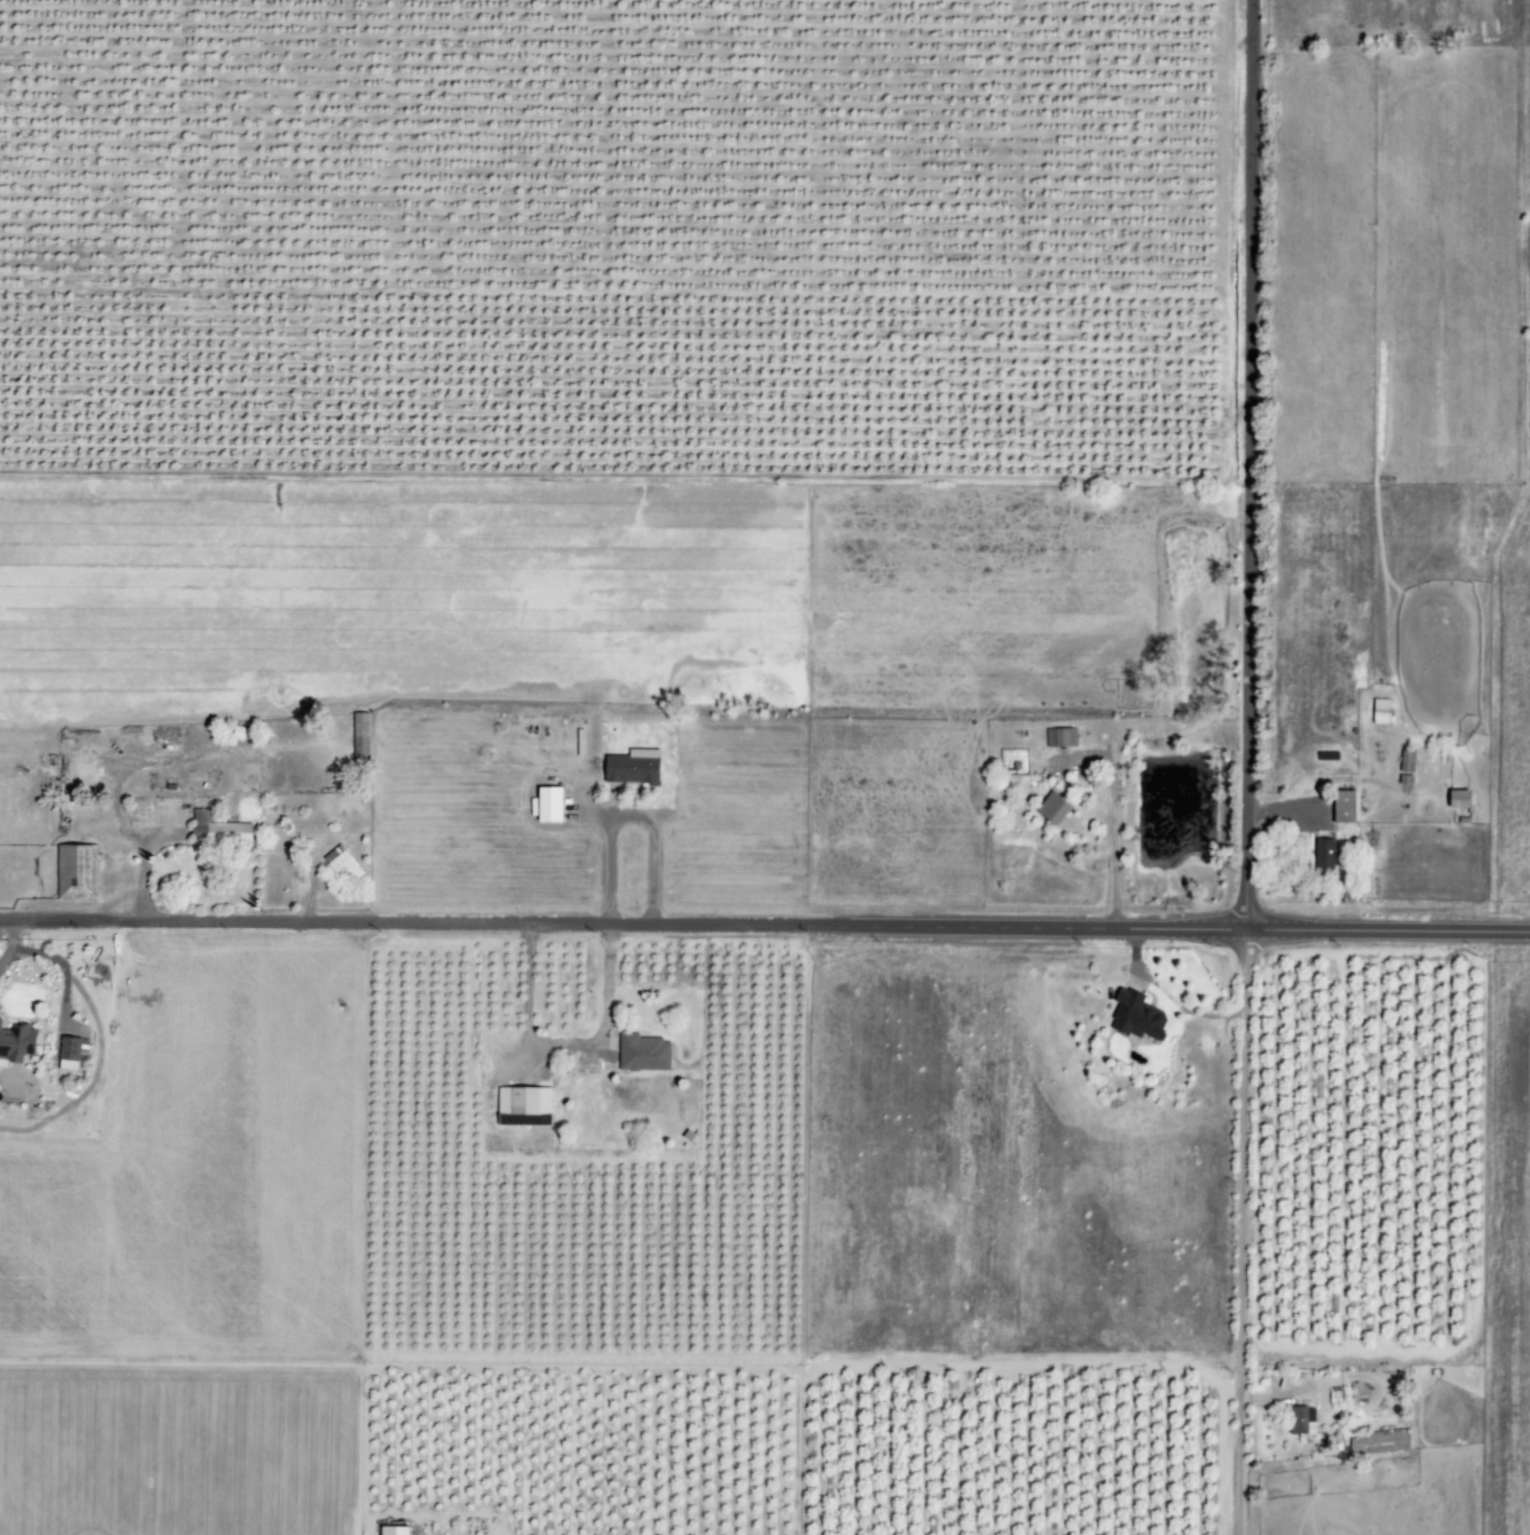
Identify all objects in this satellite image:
building: (1378, 711)
building: (356, 737)
building: (1058, 737)
building: (629, 767)
road: (1243, 767)
building: (1454, 799)
building: (543, 805)
building: (1340, 806)
building: (1048, 809)
road: (626, 814)
road: (1112, 822)
building: (215, 830)
building: (1321, 856)
building: (340, 864)
building: (73, 872)
road: (764, 925)
building: (1133, 1015)
building: (15, 1041)
road: (560, 1043)
building: (640, 1052)
building: (520, 1105)
building: (1299, 1420)
building: (1377, 1441)
building: (388, 1530)

